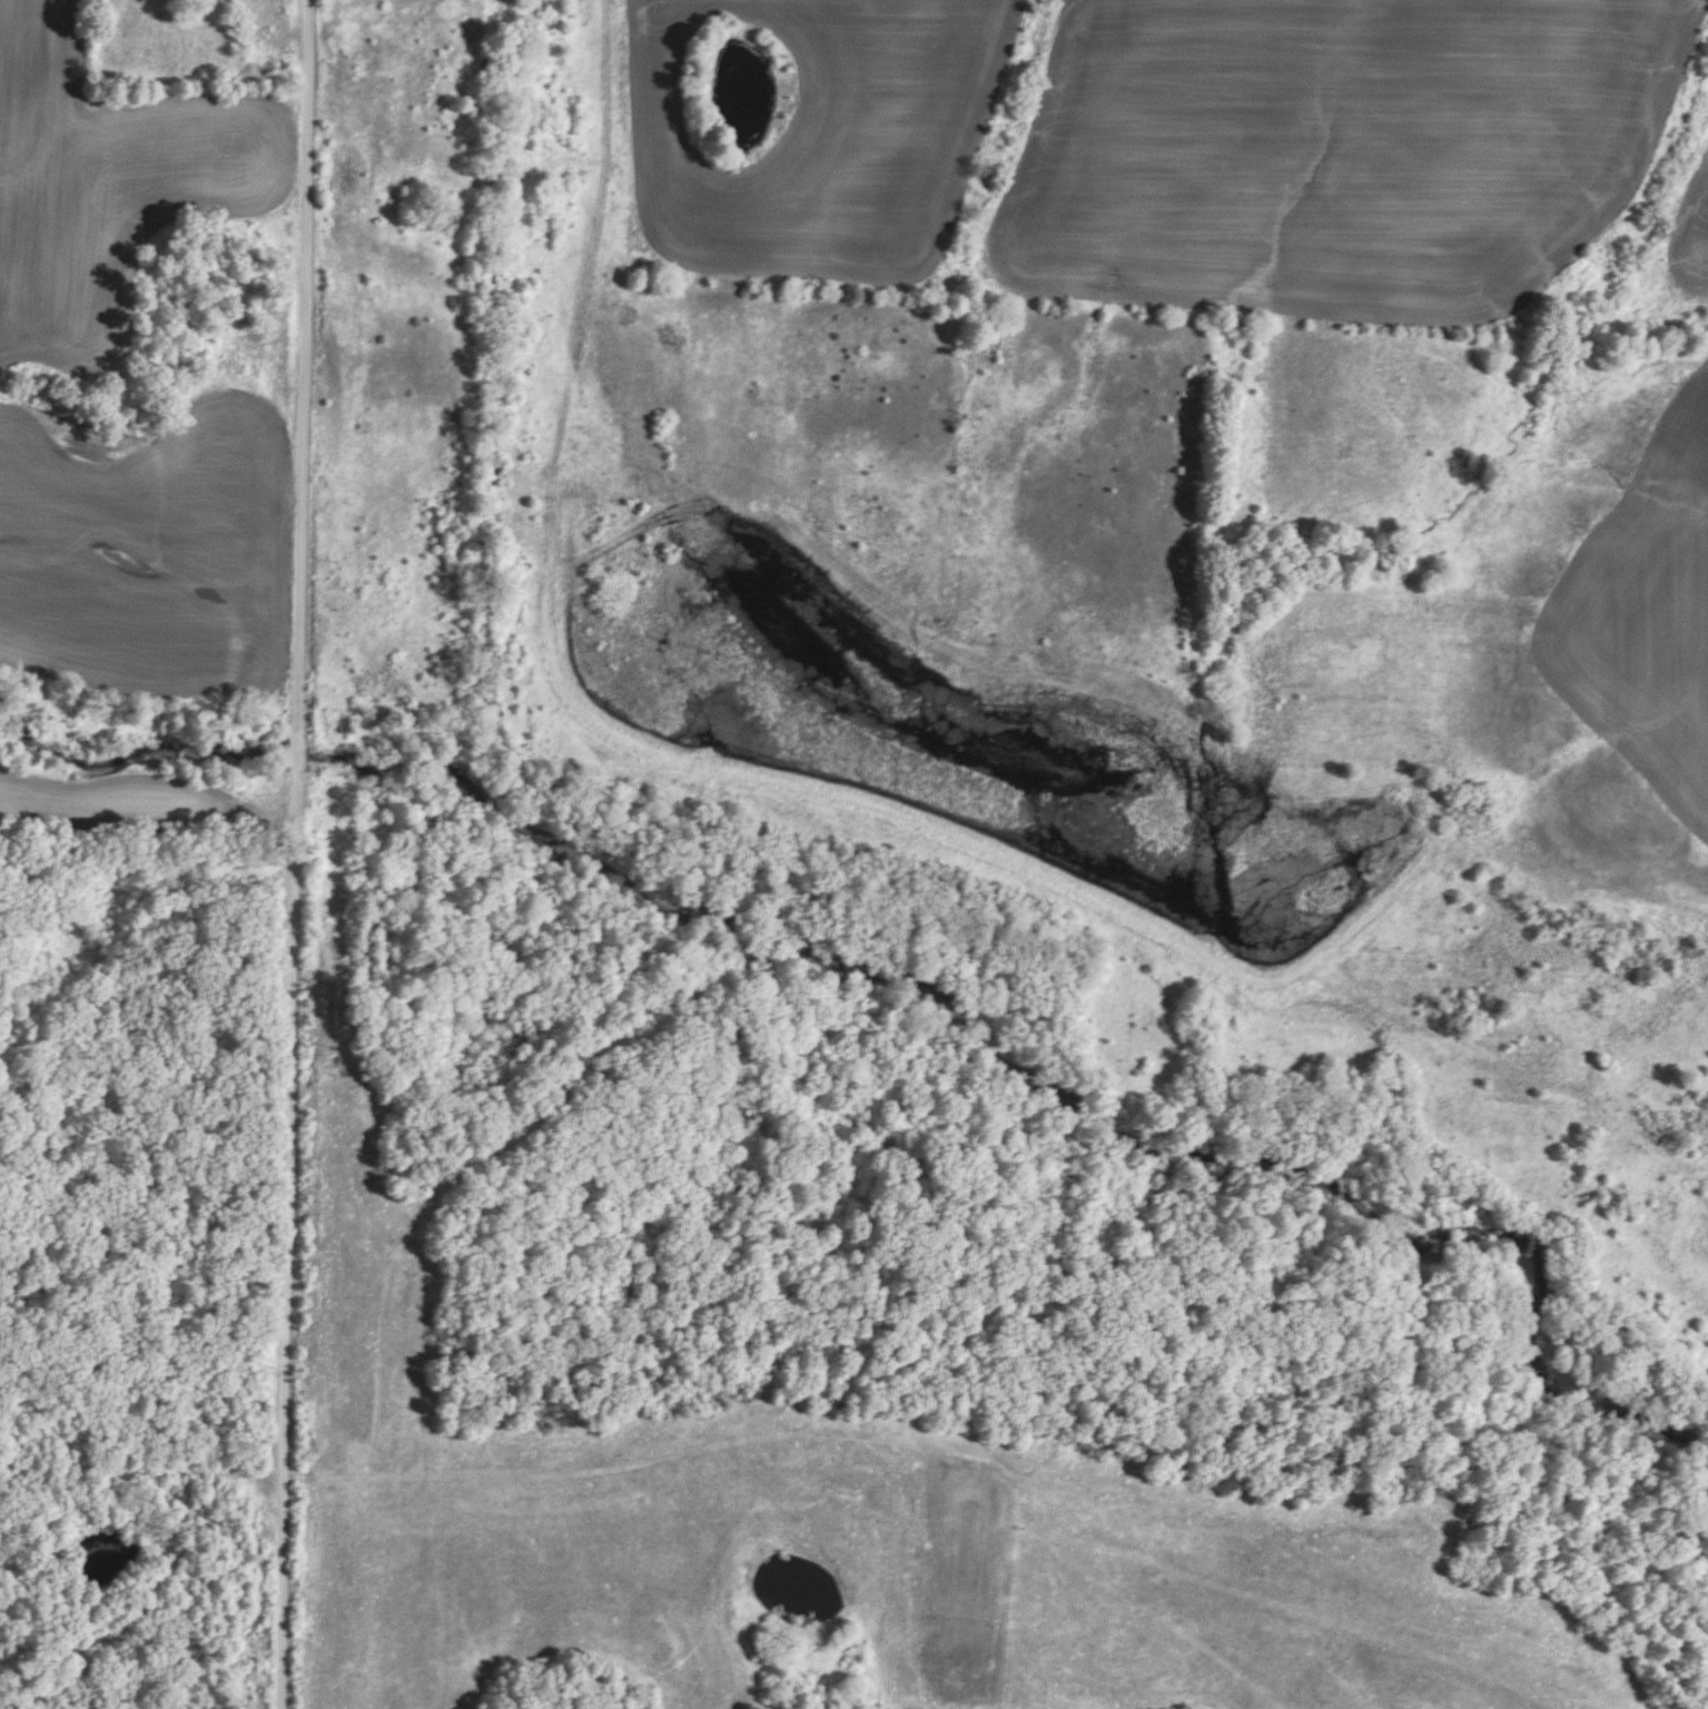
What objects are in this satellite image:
road: (305, 364)
road: (297, 751)
road: (288, 1241)

